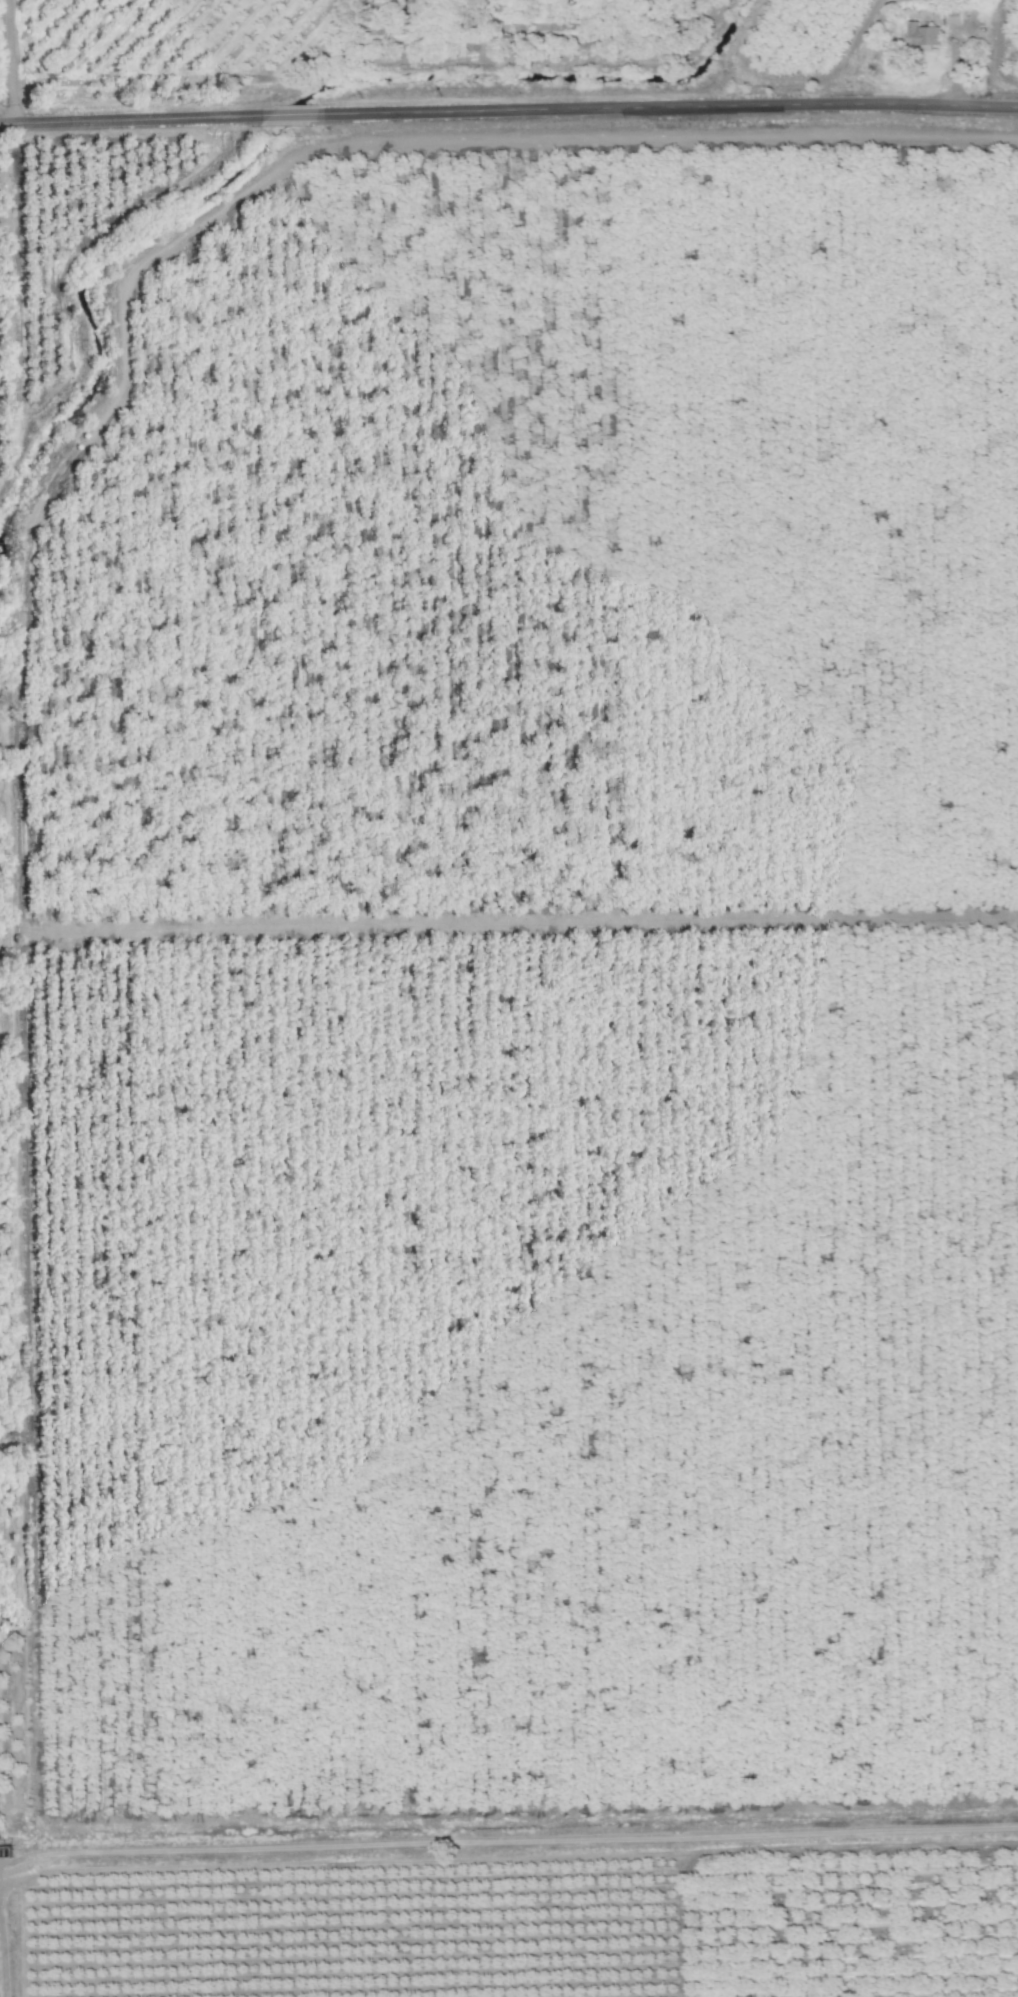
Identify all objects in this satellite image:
building: (923, 33)
road: (9, 61)
road: (674, 107)
road: (284, 115)
road: (118, 120)

